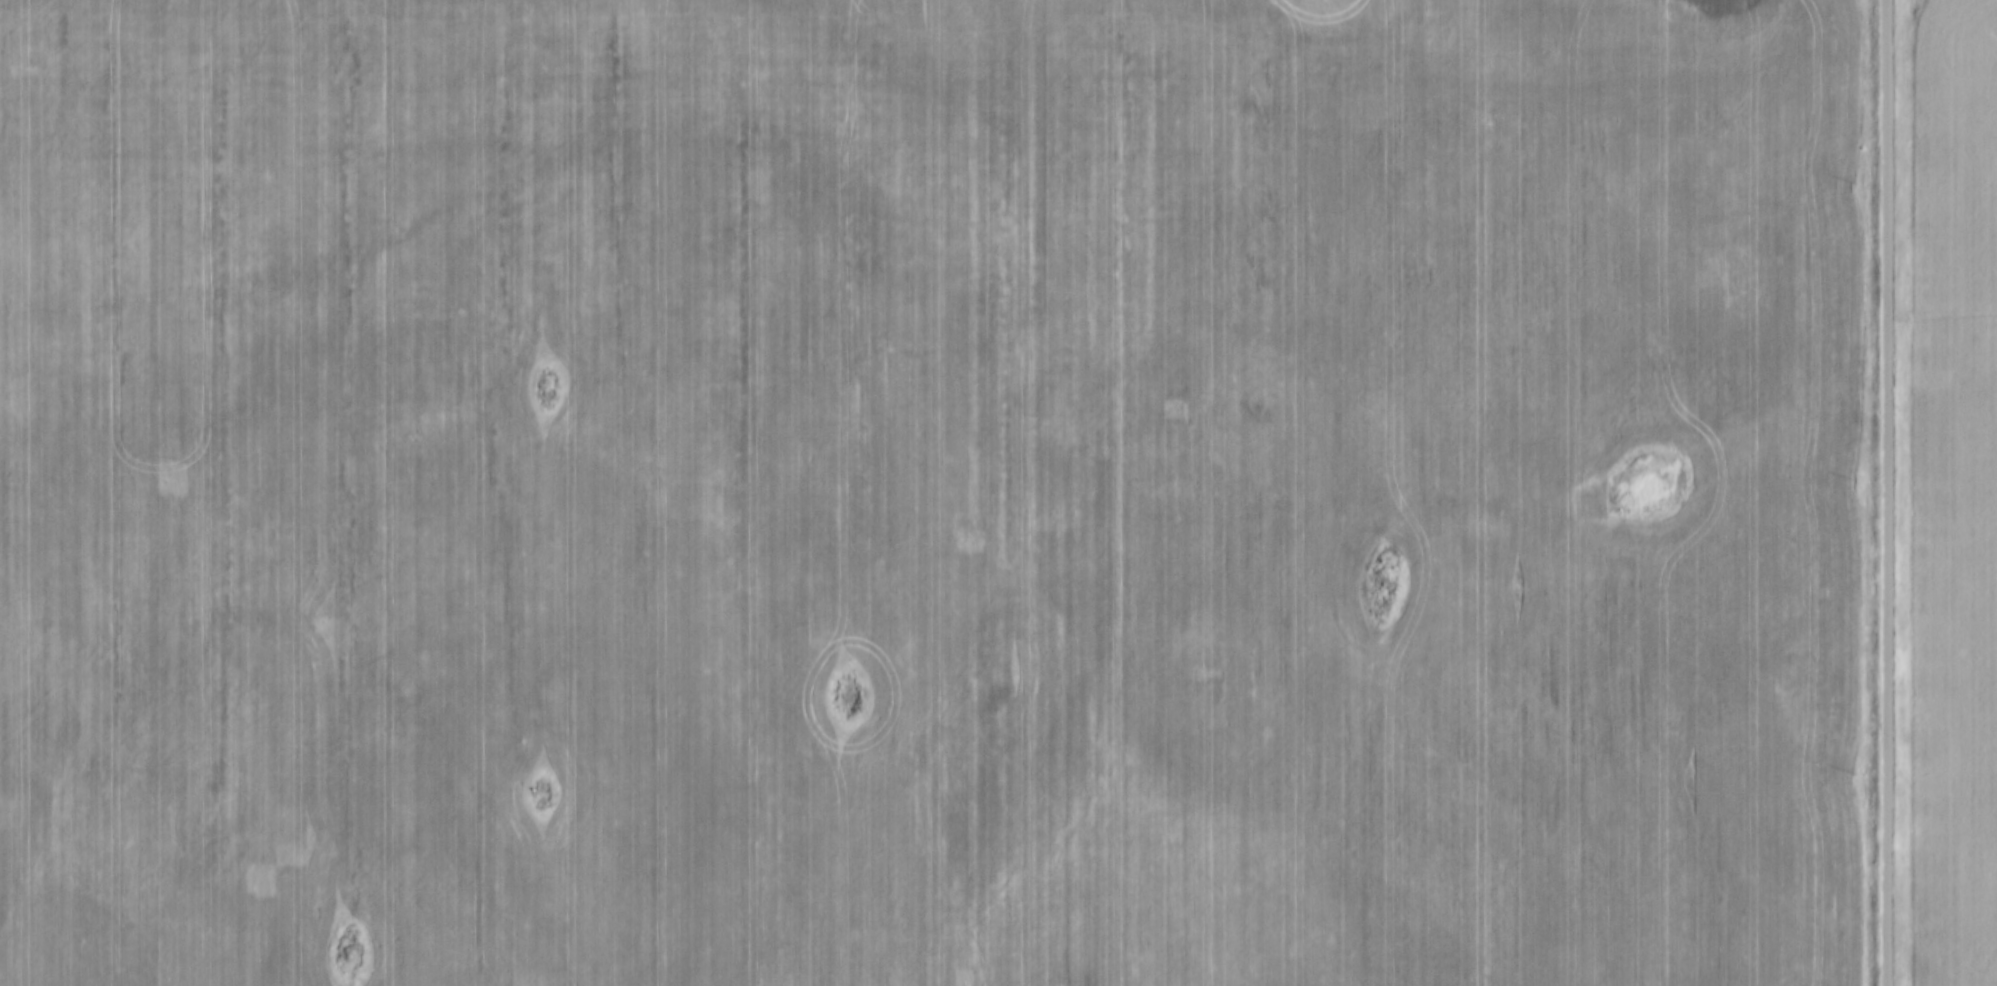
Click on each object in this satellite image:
road: (1887, 493)

